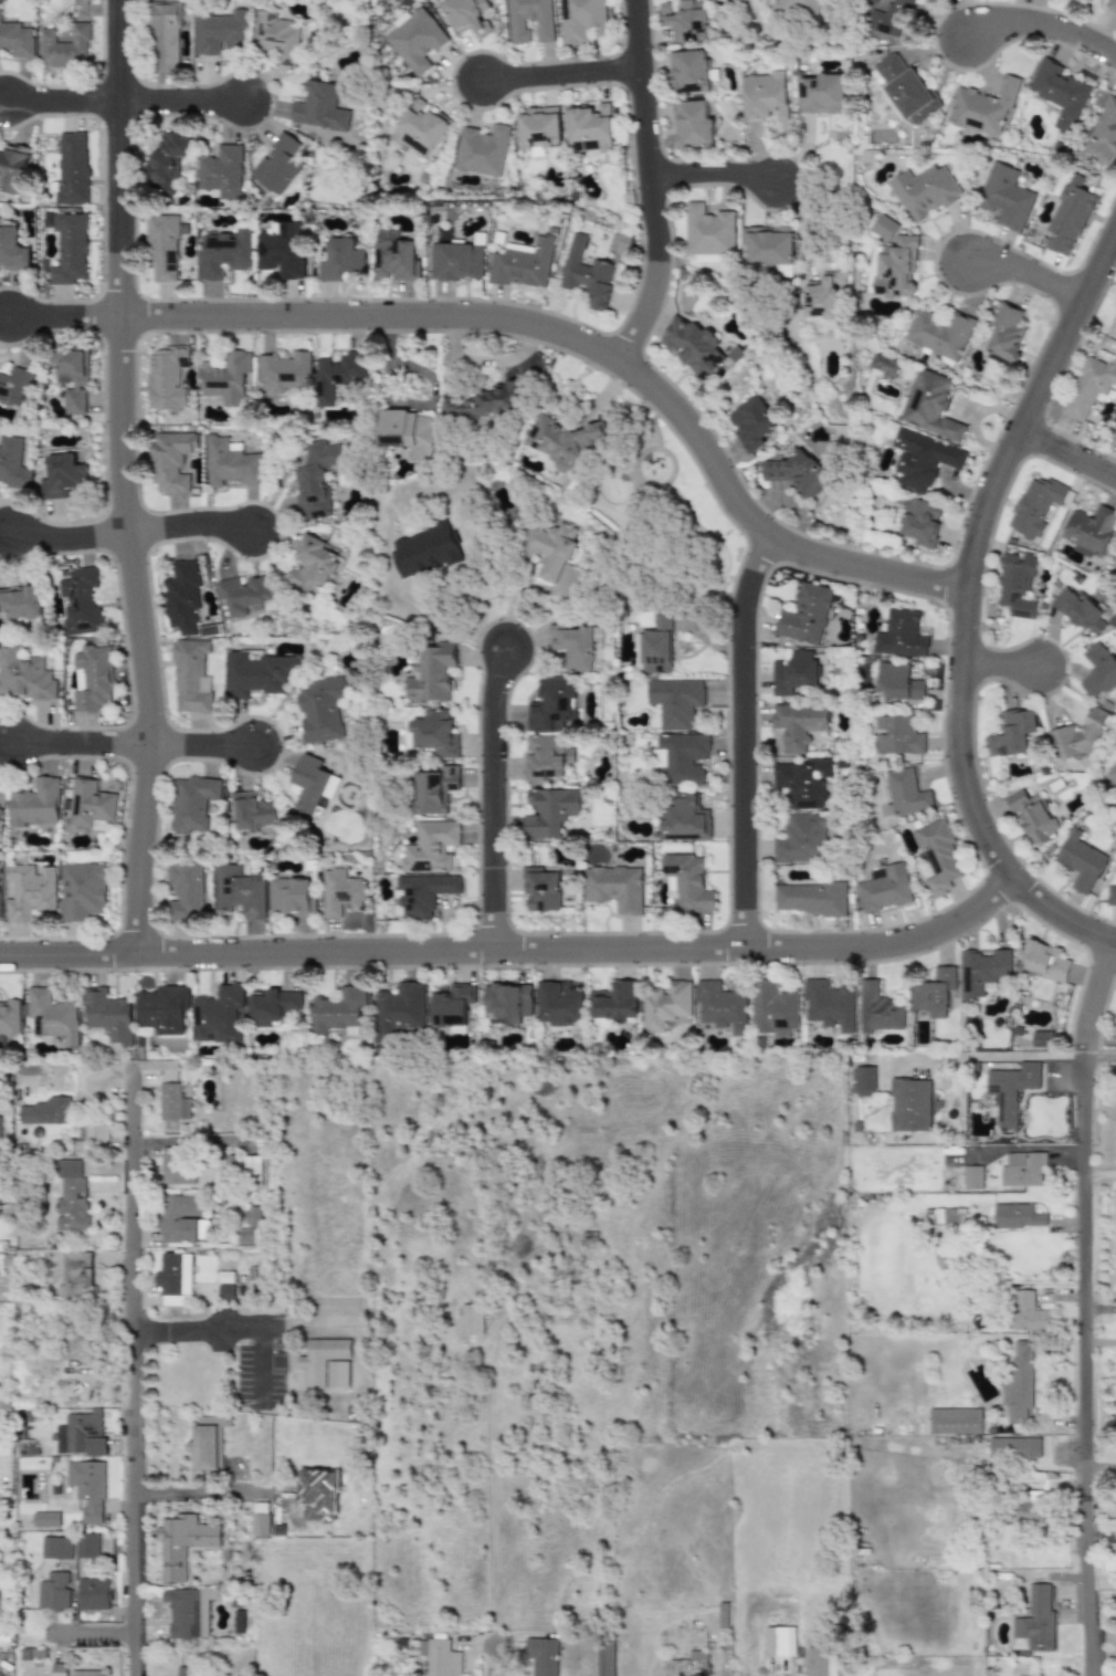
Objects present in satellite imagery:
building: (874, 1)
building: (904, 3)
building: (1110, 6)
building: (806, 8)
building: (470, 15)
building: (581, 19)
building: (686, 19)
building: (888, 20)
building: (545, 24)
road: (1045, 27)
building: (220, 32)
building: (164, 34)
building: (15, 40)
building: (417, 40)
building: (63, 46)
building: (691, 72)
road: (564, 74)
building: (907, 88)
building: (1060, 93)
building: (822, 94)
building: (765, 96)
road: (65, 101)
road: (183, 101)
building: (322, 107)
building: (983, 107)
building: (693, 124)
building: (540, 127)
building: (590, 127)
building: (421, 128)
building: (1104, 130)
building: (483, 149)
building: (168, 163)
building: (280, 165)
building: (12, 168)
building: (71, 169)
road: (714, 169)
building: (222, 171)
road: (652, 182)
building: (924, 191)
building: (1004, 197)
building: (1068, 216)
road: (808, 220)
building: (884, 228)
building: (709, 233)
building: (769, 244)
building: (162, 248)
building: (70, 249)
building: (282, 249)
building: (12, 250)
building: (224, 253)
building: (396, 256)
building: (341, 260)
building: (457, 261)
building: (525, 263)
building: (893, 266)
road: (1028, 271)
building: (588, 274)
building: (824, 295)
building: (1115, 302)
building: (1115, 303)
road: (66, 316)
building: (1006, 333)
building: (938, 334)
road: (588, 344)
building: (693, 346)
building: (884, 366)
building: (284, 371)
building: (337, 375)
building: (72, 378)
building: (164, 378)
building: (225, 378)
building: (14, 386)
building: (1087, 387)
building: (492, 402)
building: (929, 405)
building: (752, 421)
building: (412, 432)
building: (1114, 436)
building: (565, 441)
road: (1068, 455)
building: (922, 459)
building: (169, 461)
building: (12, 462)
building: (231, 463)
building: (794, 473)
building: (61, 476)
road: (123, 476)
building: (318, 480)
building: (1034, 506)
building: (920, 522)
park: (662, 523)
road: (192, 526)
building: (1089, 531)
road: (70, 538)
building: (551, 548)
building: (427, 549)
building: (1115, 564)
building: (315, 566)
building: (1014, 585)
building: (246, 595)
building: (181, 598)
building: (80, 601)
building: (20, 603)
road: (964, 609)
building: (1080, 611)
building: (804, 615)
building: (899, 635)
road: (1001, 663)
building: (1098, 670)
building: (431, 672)
building: (794, 672)
building: (259, 674)
building: (24, 675)
building: (189, 675)
building: (93, 678)
building: (897, 682)
building: (204, 684)
building: (676, 701)
building: (551, 704)
building: (322, 709)
building: (799, 724)
building: (435, 733)
building: (1011, 733)
building: (1077, 734)
building: (896, 736)
road: (744, 739)
road: (84, 744)
road: (206, 745)
building: (543, 757)
building: (682, 757)
building: (1113, 773)
building: (803, 782)
building: (314, 783)
building: (435, 789)
building: (904, 792)
road: (495, 796)
building: (88, 803)
building: (192, 803)
building: (34, 804)
building: (253, 811)
building: (549, 811)
building: (0, 813)
building: (1032, 816)
building: (686, 819)
building: (801, 839)
building: (430, 847)
building: (937, 857)
building: (1080, 861)
building: (687, 883)
building: (186, 884)
building: (614, 887)
building: (540, 889)
building: (884, 890)
building: (81, 891)
building: (239, 891)
building: (30, 892)
building: (340, 892)
building: (420, 893)
building: (1110, 894)
building: (291, 895)
building: (809, 898)
road: (512, 945)
building: (1043, 960)
building: (981, 971)
road: (1089, 988)
building: (934, 992)
building: (506, 1002)
building: (614, 1002)
building: (558, 1003)
building: (451, 1005)
building: (664, 1005)
building: (829, 1005)
building: (272, 1006)
building: (720, 1007)
building: (772, 1007)
building: (161, 1008)
building: (878, 1008)
building: (398, 1009)
building: (338, 1010)
building: (52, 1015)
building: (107, 1015)
building: (218, 1015)
building: (8, 1020)
building: (1115, 1035)
building: (1040, 1038)
road: (1083, 1043)
road: (1099, 1054)
road: (989, 1056)
road: (31, 1071)
building: (864, 1081)
building: (1010, 1089)
building: (170, 1102)
building: (909, 1104)
building: (44, 1111)
building: (0, 1132)
building: (95, 1133)
building: (176, 1165)
building: (1022, 1169)
building: (252, 1171)
road: (1099, 1173)
building: (971, 1177)
building: (70, 1195)
building: (251, 1216)
building: (1017, 1216)
building: (179, 1219)
building: (244, 1235)
building: (173, 1274)
building: (74, 1276)
building: (225, 1291)
building: (1024, 1312)
building: (471, 1319)
road: (231, 1329)
building: (320, 1359)
road: (1086, 1365)
road: (135, 1369)
building: (337, 1374)
building: (1019, 1382)
building: (954, 1421)
building: (76, 1431)
building: (94, 1446)
building: (203, 1447)
building: (220, 1448)
building: (1014, 1448)
building: (87, 1488)
building: (1029, 1506)
building: (46, 1518)
building: (259, 1519)
road: (1103, 1536)
building: (182, 1543)
building: (86, 1546)
building: (54, 1547)
road: (494, 1572)
building: (52, 1591)
building: (93, 1593)
building: (188, 1611)
building: (1035, 1619)
road: (94, 1635)
building: (779, 1641)
building: (541, 1655)
building: (439, 1657)
building: (603, 1657)
road: (735, 1657)
building: (821, 1662)
building: (684, 1664)
building: (57, 1669)
building: (186, 1670)
building: (85, 1673)

